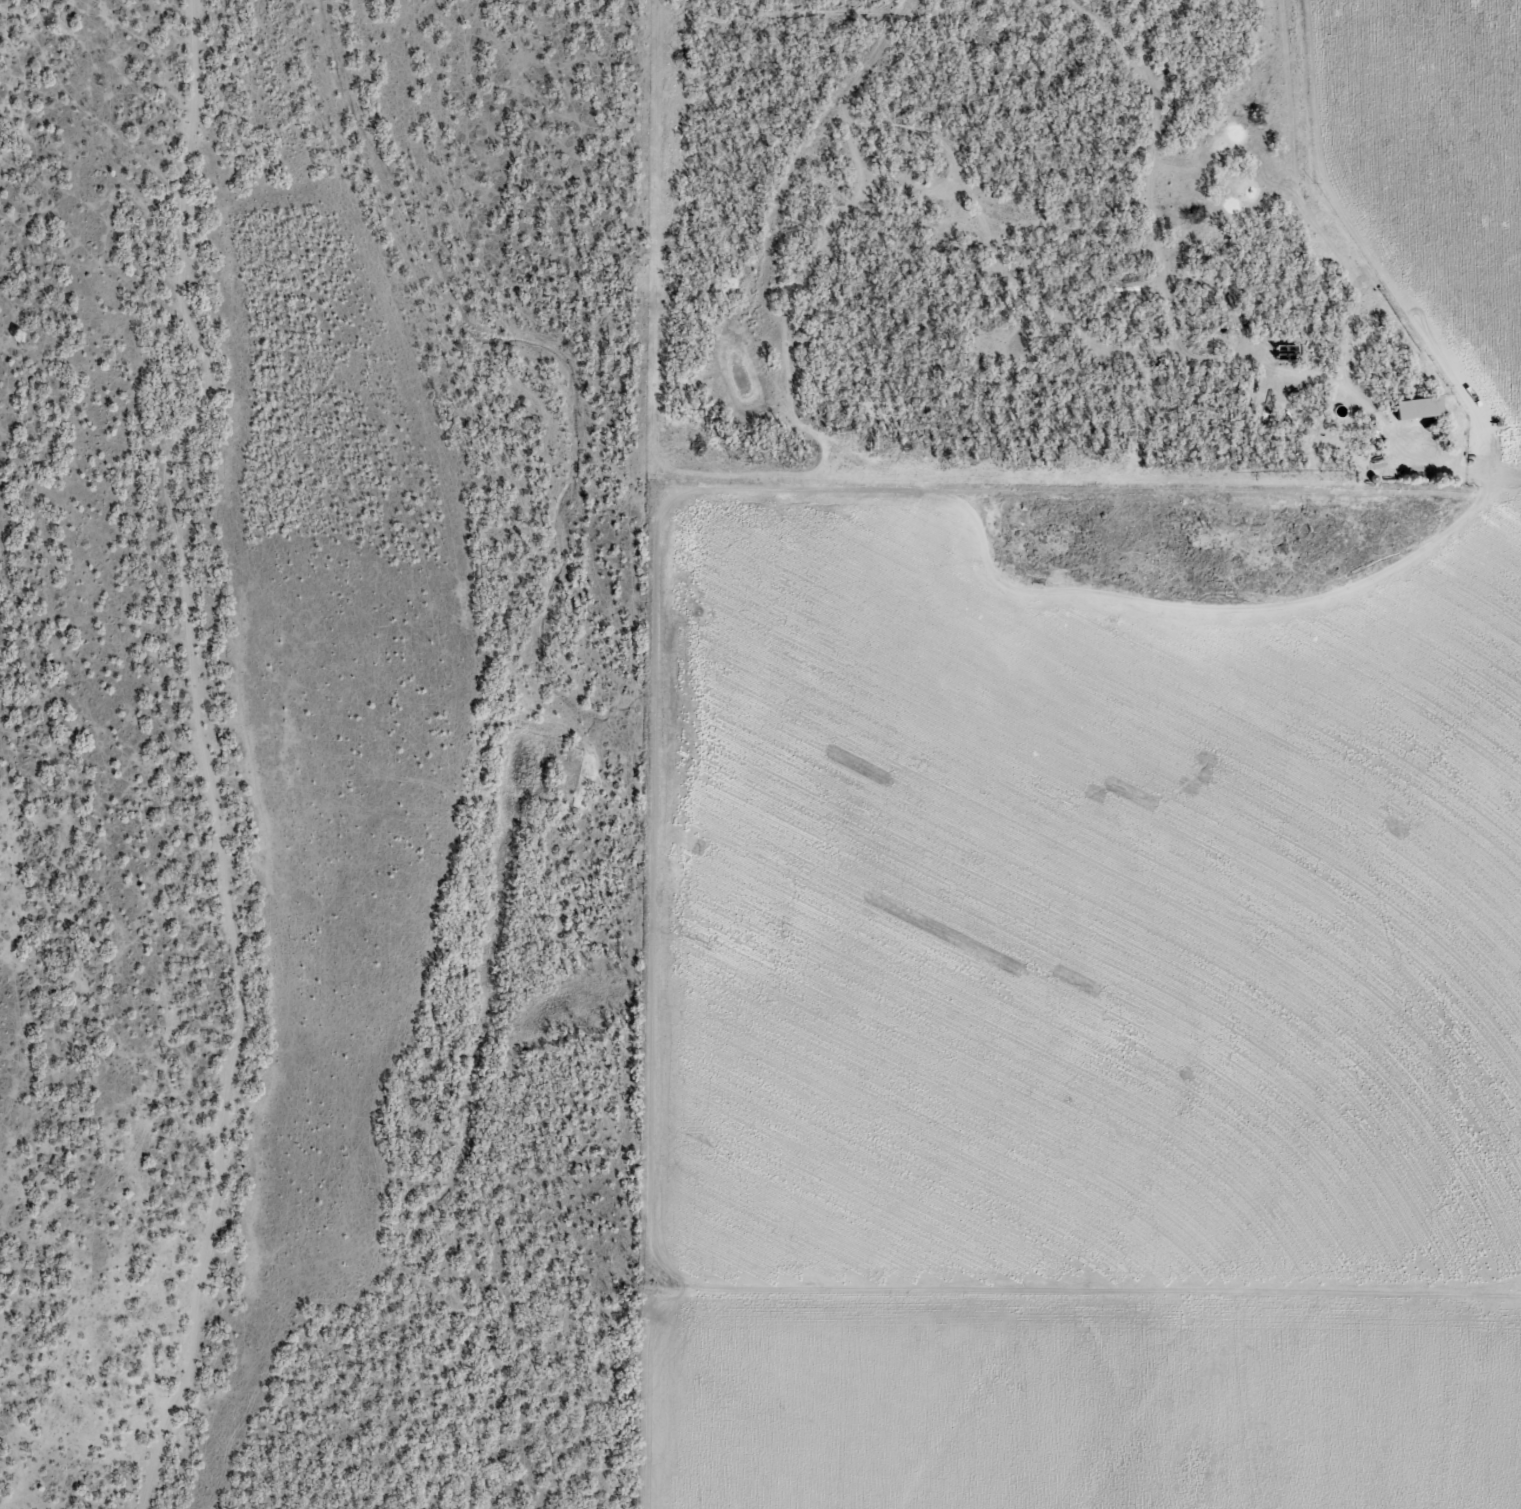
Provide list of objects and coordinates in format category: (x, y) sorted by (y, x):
building: (1420, 409)

